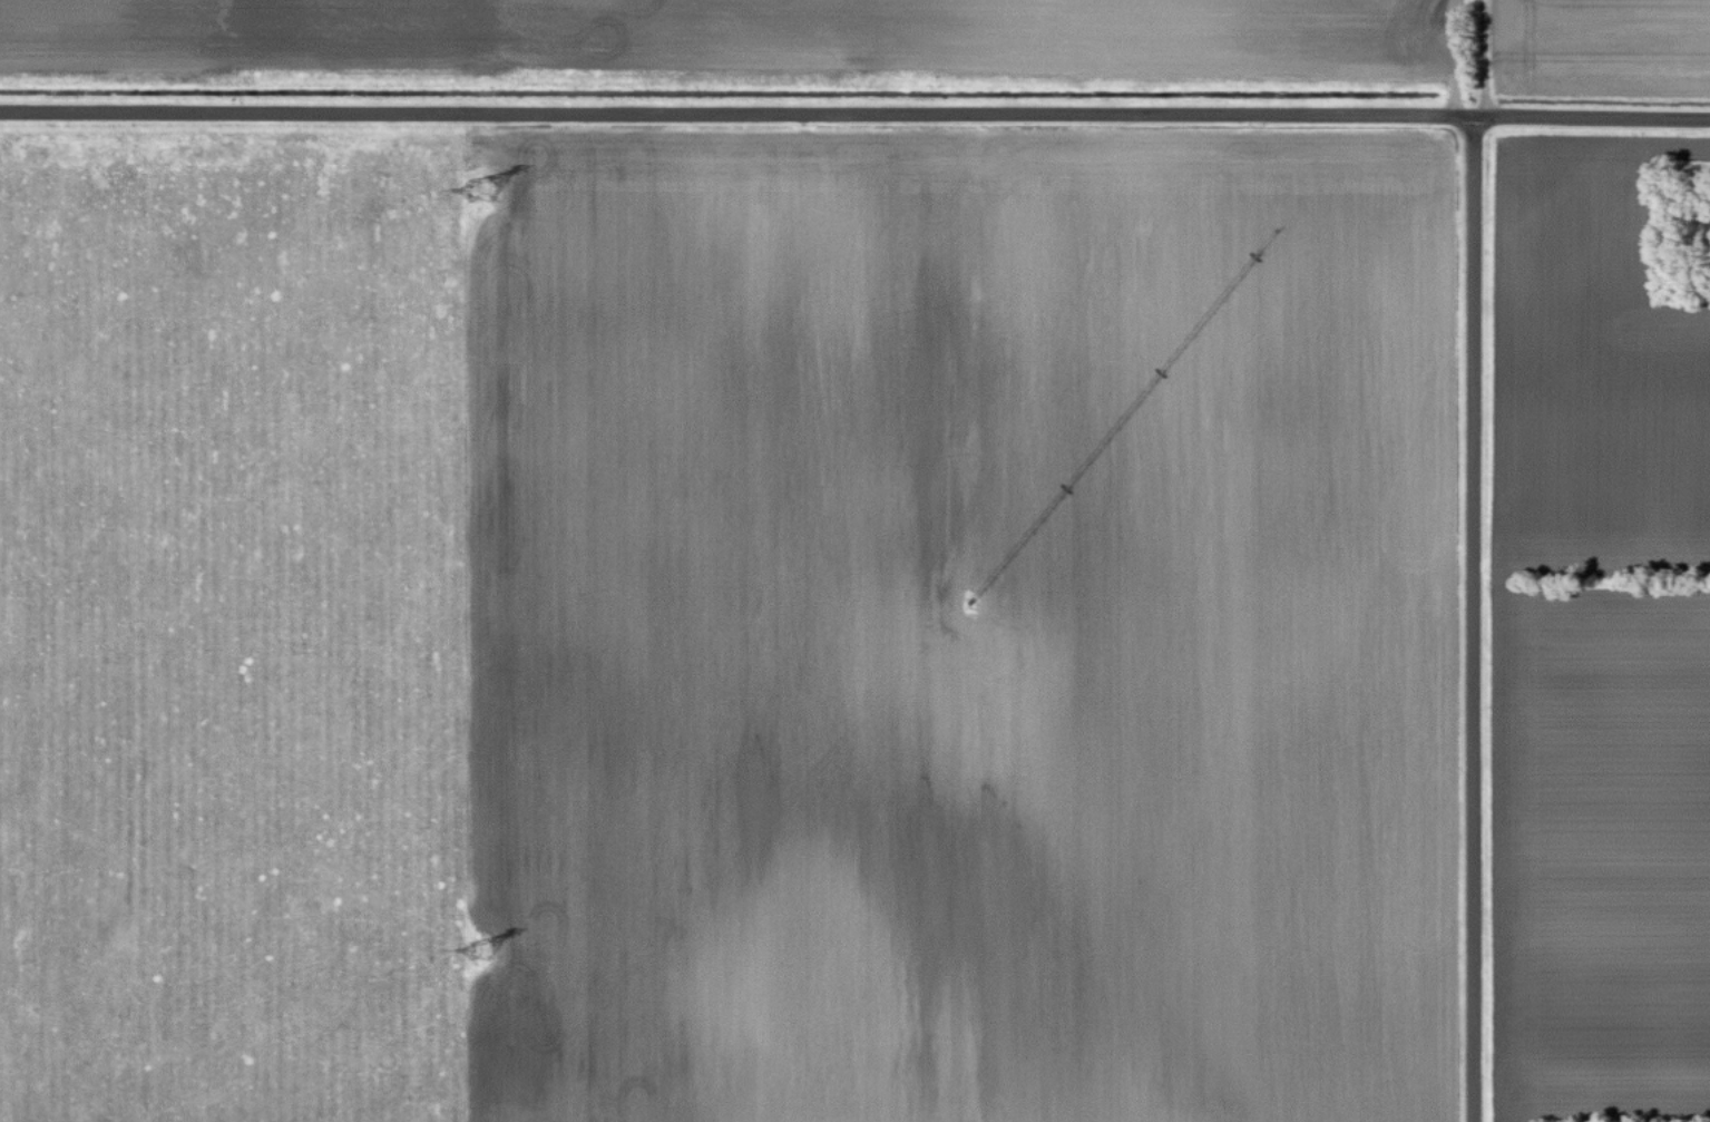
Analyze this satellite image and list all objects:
road: (854, 109)
power tower: (487, 192)
road: (1475, 616)
power tower: (477, 953)

